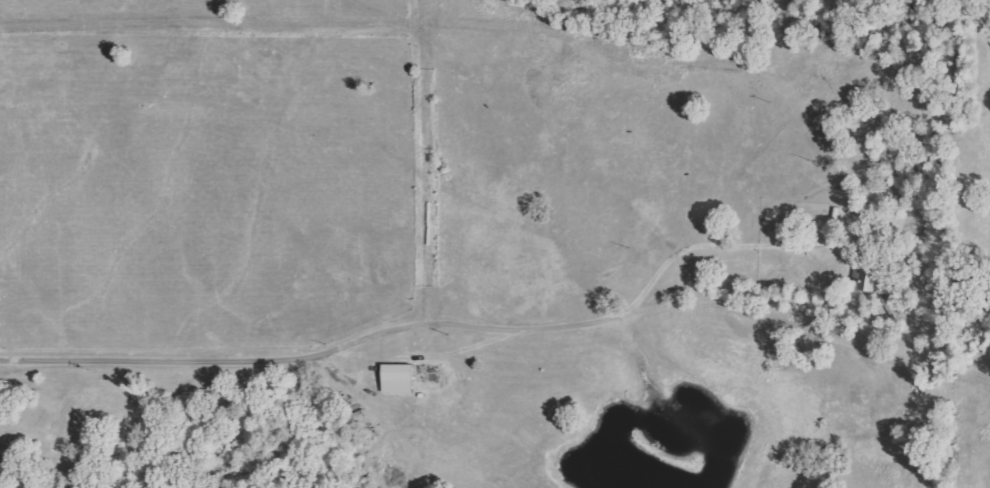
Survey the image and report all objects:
road: (212, 24)
road: (718, 246)
road: (712, 304)
road: (373, 334)
building: (396, 379)

